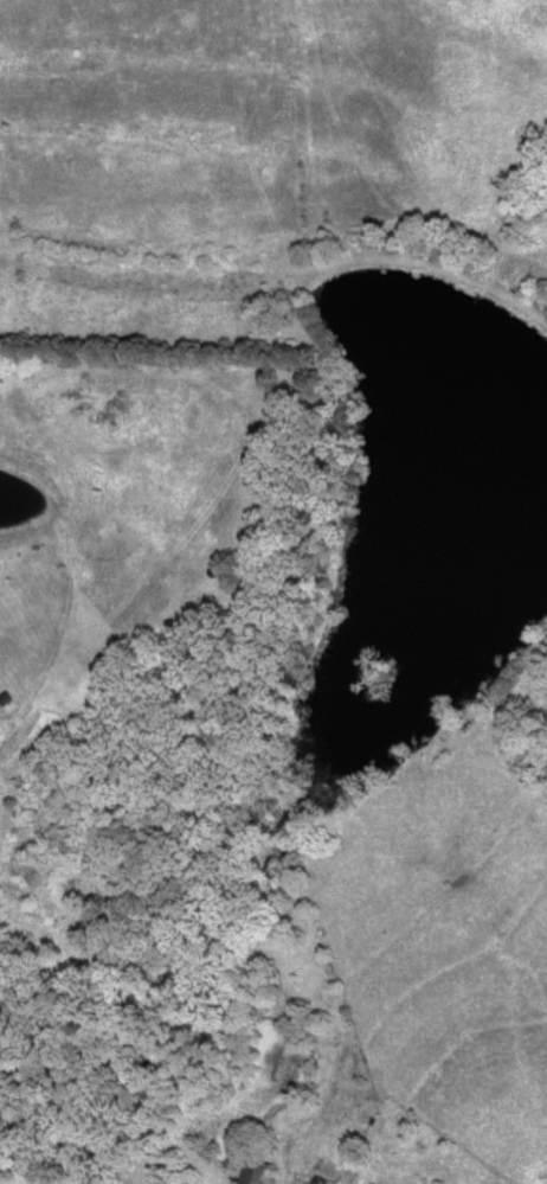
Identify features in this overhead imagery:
building: (255, 1172)

